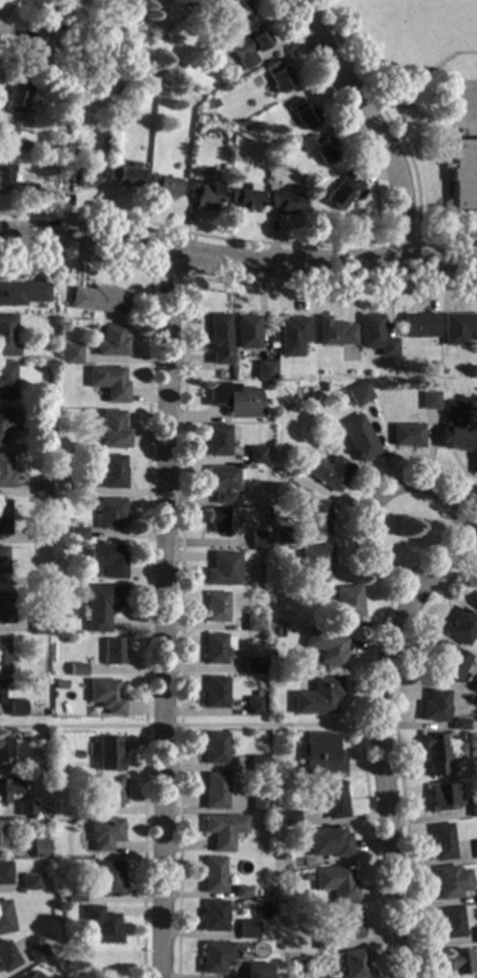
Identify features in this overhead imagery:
road: (1, 2)
park: (413, 4)
building: (231, 11)
building: (95, 14)
building: (54, 17)
park: (396, 37)
building: (246, 46)
building: (33, 55)
building: (176, 75)
building: (276, 76)
building: (15, 96)
road: (467, 100)
building: (210, 103)
building: (63, 106)
building: (302, 113)
road: (371, 123)
building: (9, 137)
road: (398, 139)
building: (318, 147)
building: (56, 149)
building: (70, 152)
building: (276, 164)
building: (463, 174)
building: (81, 175)
building: (123, 175)
building: (3, 176)
building: (163, 185)
building: (251, 187)
building: (341, 191)
building: (202, 192)
building: (244, 198)
building: (285, 202)
road: (189, 232)
road: (417, 243)
road: (237, 262)
road: (185, 271)
building: (21, 293)
building: (97, 299)
building: (418, 325)
building: (458, 328)
building: (244, 332)
building: (332, 332)
building: (6, 335)
building: (291, 335)
building: (374, 335)
building: (217, 337)
building: (109, 341)
building: (69, 354)
building: (223, 369)
building: (262, 370)
building: (6, 380)
building: (107, 382)
building: (266, 386)
building: (352, 387)
building: (233, 400)
building: (429, 400)
building: (8, 420)
building: (453, 427)
building: (110, 429)
building: (406, 435)
building: (361, 437)
building: (219, 439)
road: (9, 447)
building: (255, 455)
building: (475, 461)
building: (324, 470)
building: (5, 471)
building: (111, 472)
road: (182, 480)
building: (221, 482)
building: (76, 485)
building: (41, 486)
road: (377, 496)
building: (109, 513)
building: (4, 517)
building: (316, 517)
road: (465, 517)
building: (219, 520)
building: (40, 533)
building: (77, 533)
building: (281, 536)
building: (258, 539)
road: (146, 546)
road: (429, 546)
building: (3, 560)
building: (106, 560)
building: (314, 562)
building: (222, 569)
building: (40, 581)
road: (400, 582)
building: (474, 597)
building: (100, 605)
building: (215, 606)
building: (345, 606)
building: (5, 607)
road: (163, 614)
building: (254, 623)
building: (40, 625)
building: (460, 626)
building: (216, 647)
building: (325, 647)
building: (112, 651)
building: (3, 656)
road: (367, 658)
building: (450, 661)
building: (253, 664)
building: (76, 668)
building: (474, 684)
building: (3, 690)
building: (214, 692)
building: (256, 693)
building: (104, 696)
building: (316, 696)
building: (253, 706)
building: (433, 706)
building: (15, 707)
building: (458, 723)
road: (188, 725)
road: (379, 739)
building: (5, 748)
building: (213, 748)
building: (107, 753)
road: (396, 753)
building: (433, 753)
building: (320, 754)
building: (256, 763)
building: (57, 768)
building: (55, 779)
building: (8, 789)
building: (111, 791)
building: (214, 791)
building: (443, 796)
building: (328, 800)
building: (258, 803)
building: (472, 806)
building: (25, 808)
building: (86, 809)
building: (74, 810)
building: (288, 818)
building: (222, 830)
building: (103, 833)
building: (295, 835)
building: (4, 836)
building: (327, 841)
building: (441, 841)
building: (475, 848)
building: (39, 849)
building: (5, 872)
building: (212, 874)
building: (106, 878)
building: (450, 881)
building: (29, 882)
building: (334, 883)
building: (241, 891)
building: (72, 893)
building: (213, 915)
building: (5, 917)
building: (450, 922)
building: (347, 923)
building: (101, 924)
building: (247, 930)
building: (474, 937)
building: (321, 942)
building: (37, 953)
building: (6, 956)
building: (216, 957)
building: (457, 961)
building: (352, 964)
building: (257, 970)
building: (33, 975)

